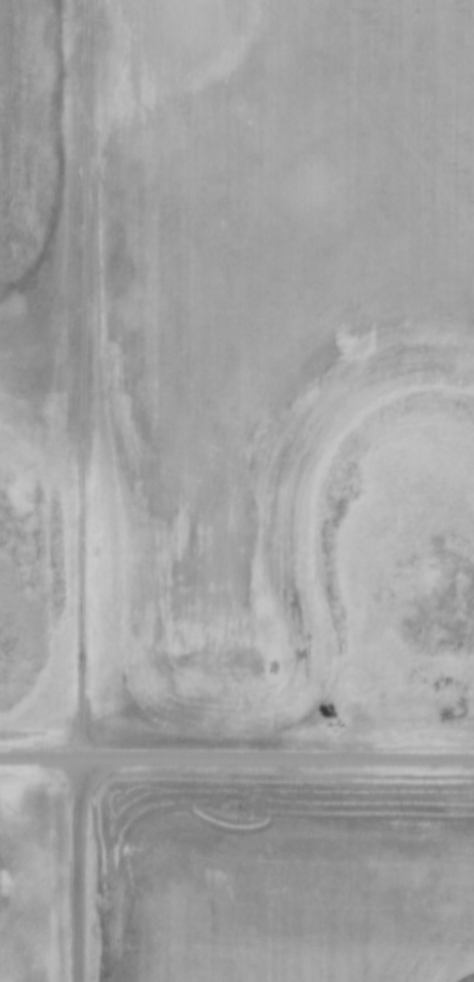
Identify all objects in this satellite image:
road: (76, 377)
road: (237, 755)
road: (74, 868)

